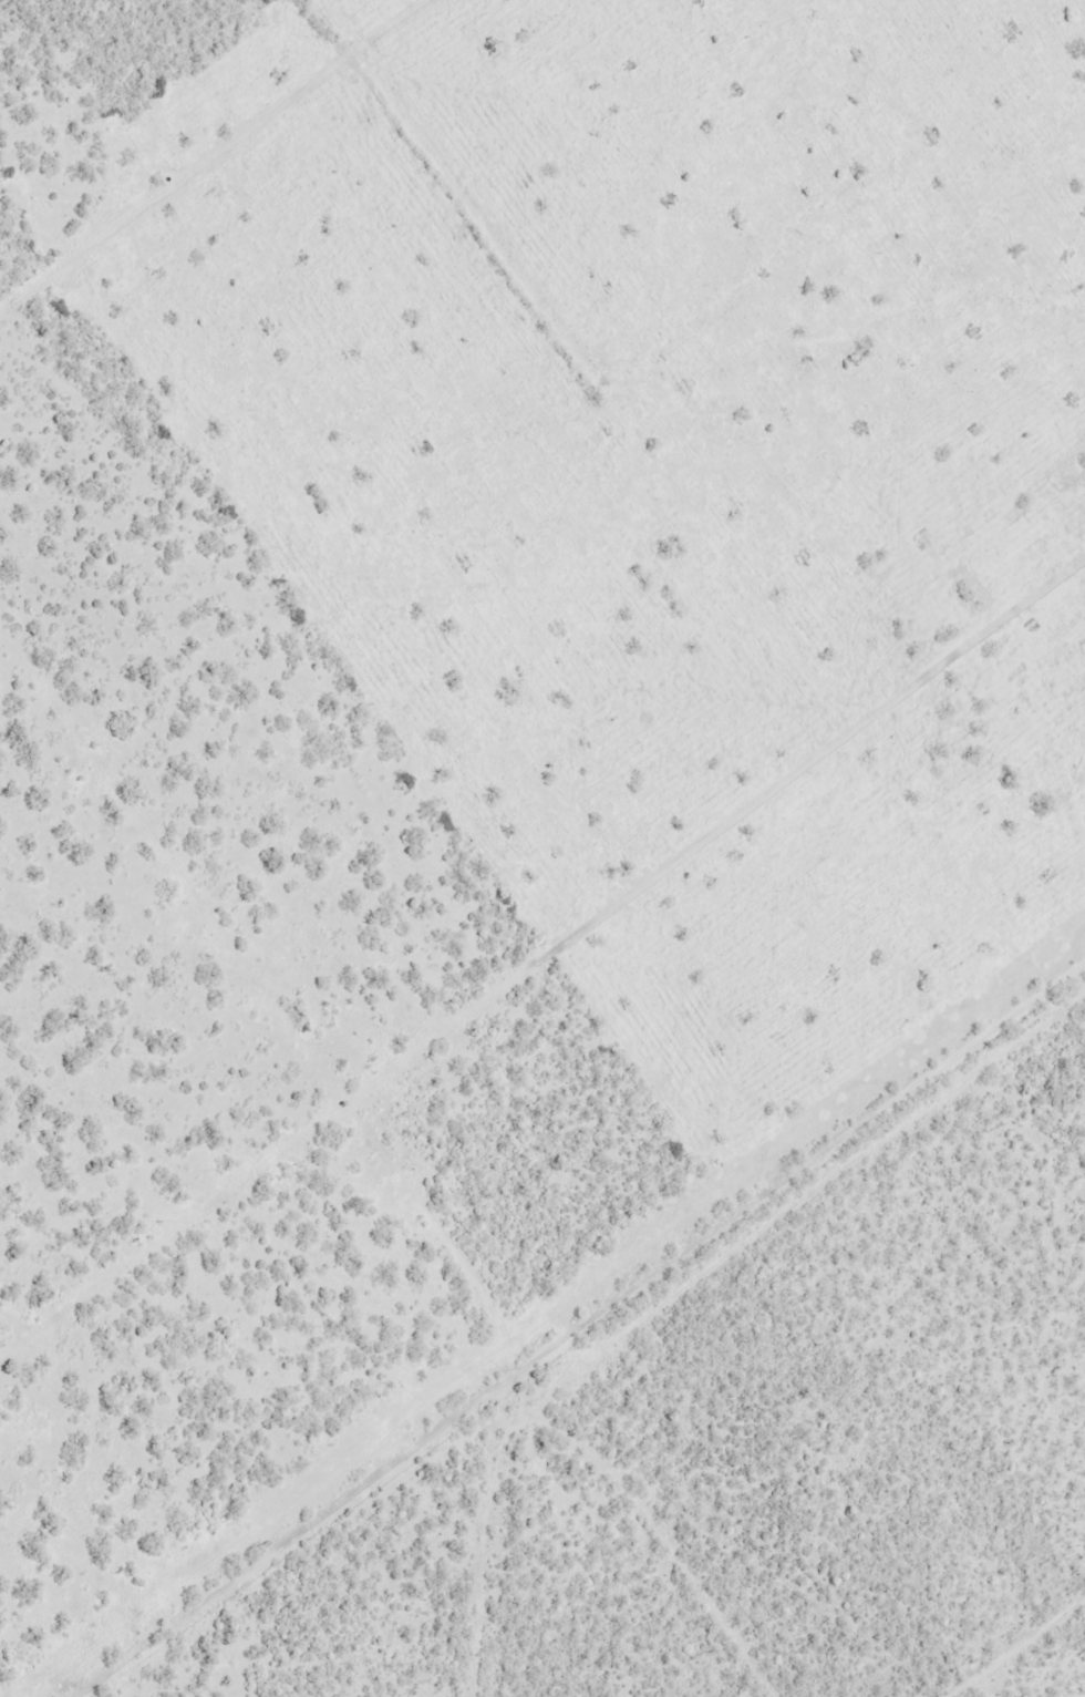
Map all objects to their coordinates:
road: (592, 1339)

